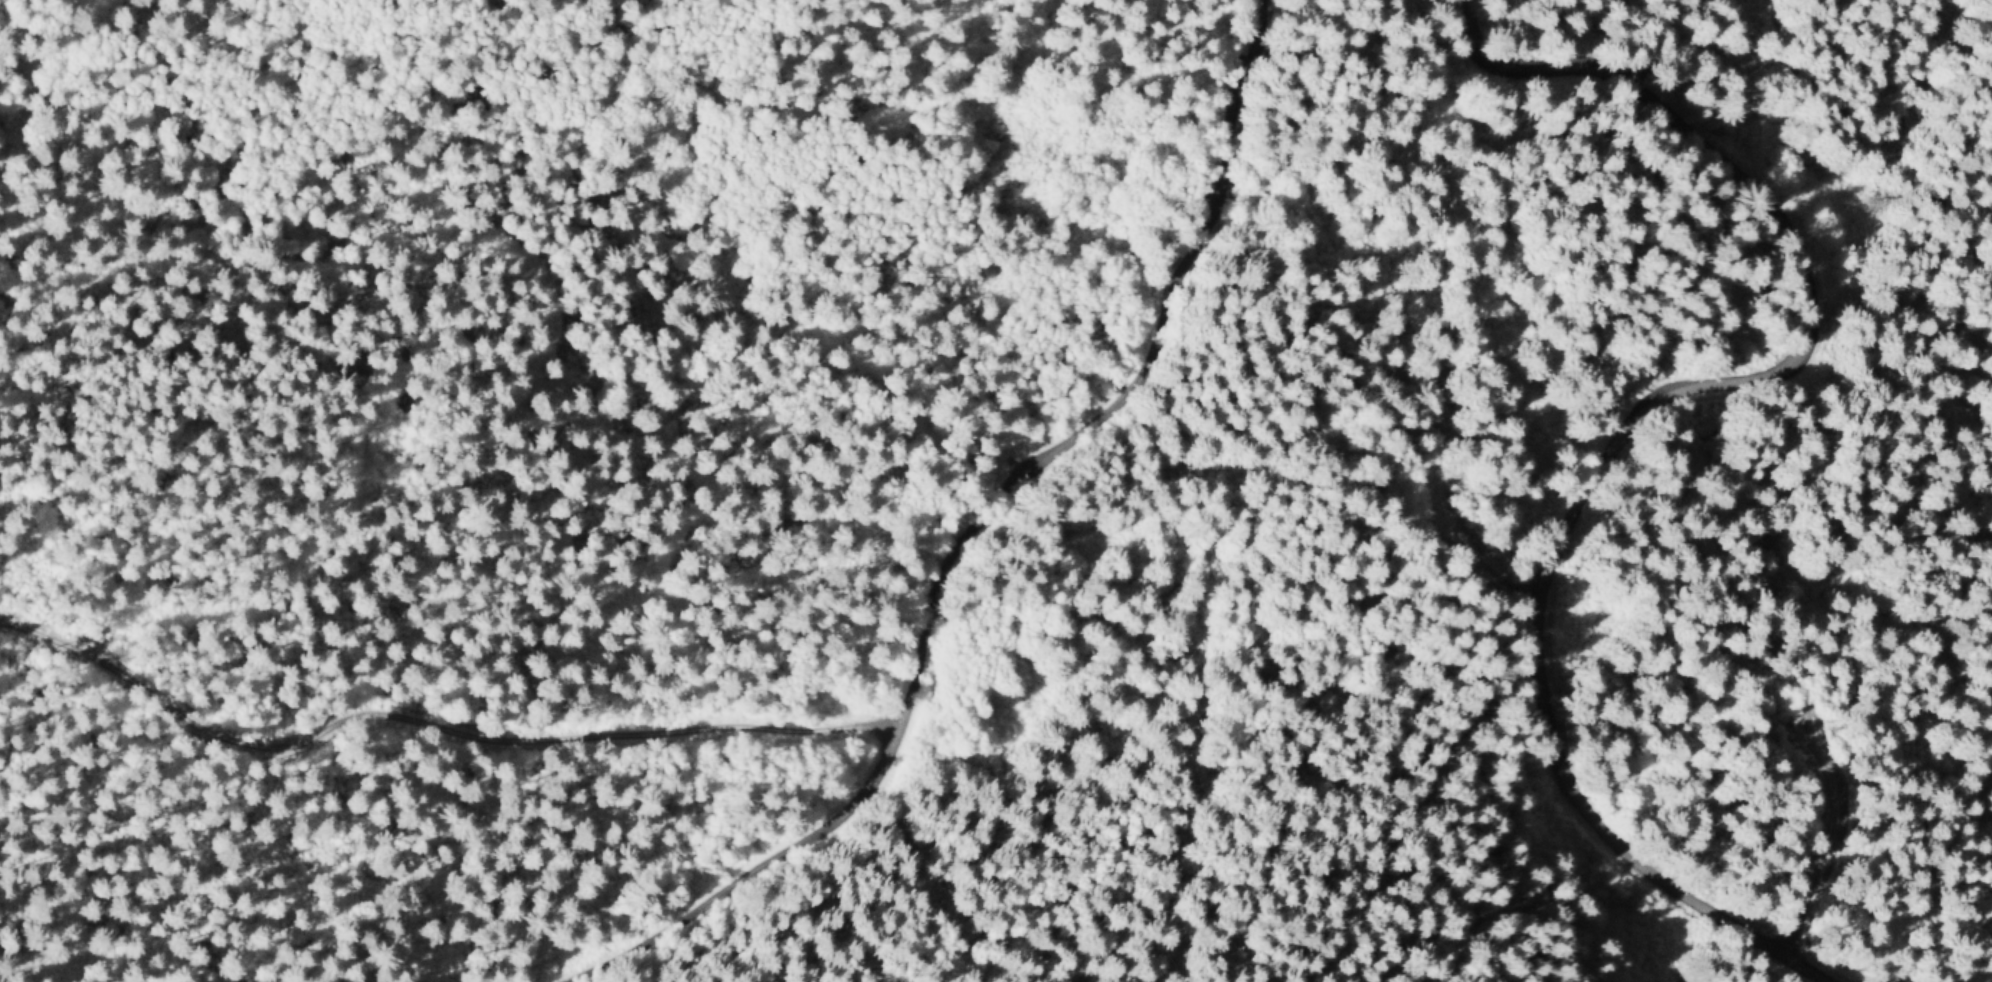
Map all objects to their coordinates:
road: (1640, 416)
road: (988, 526)

